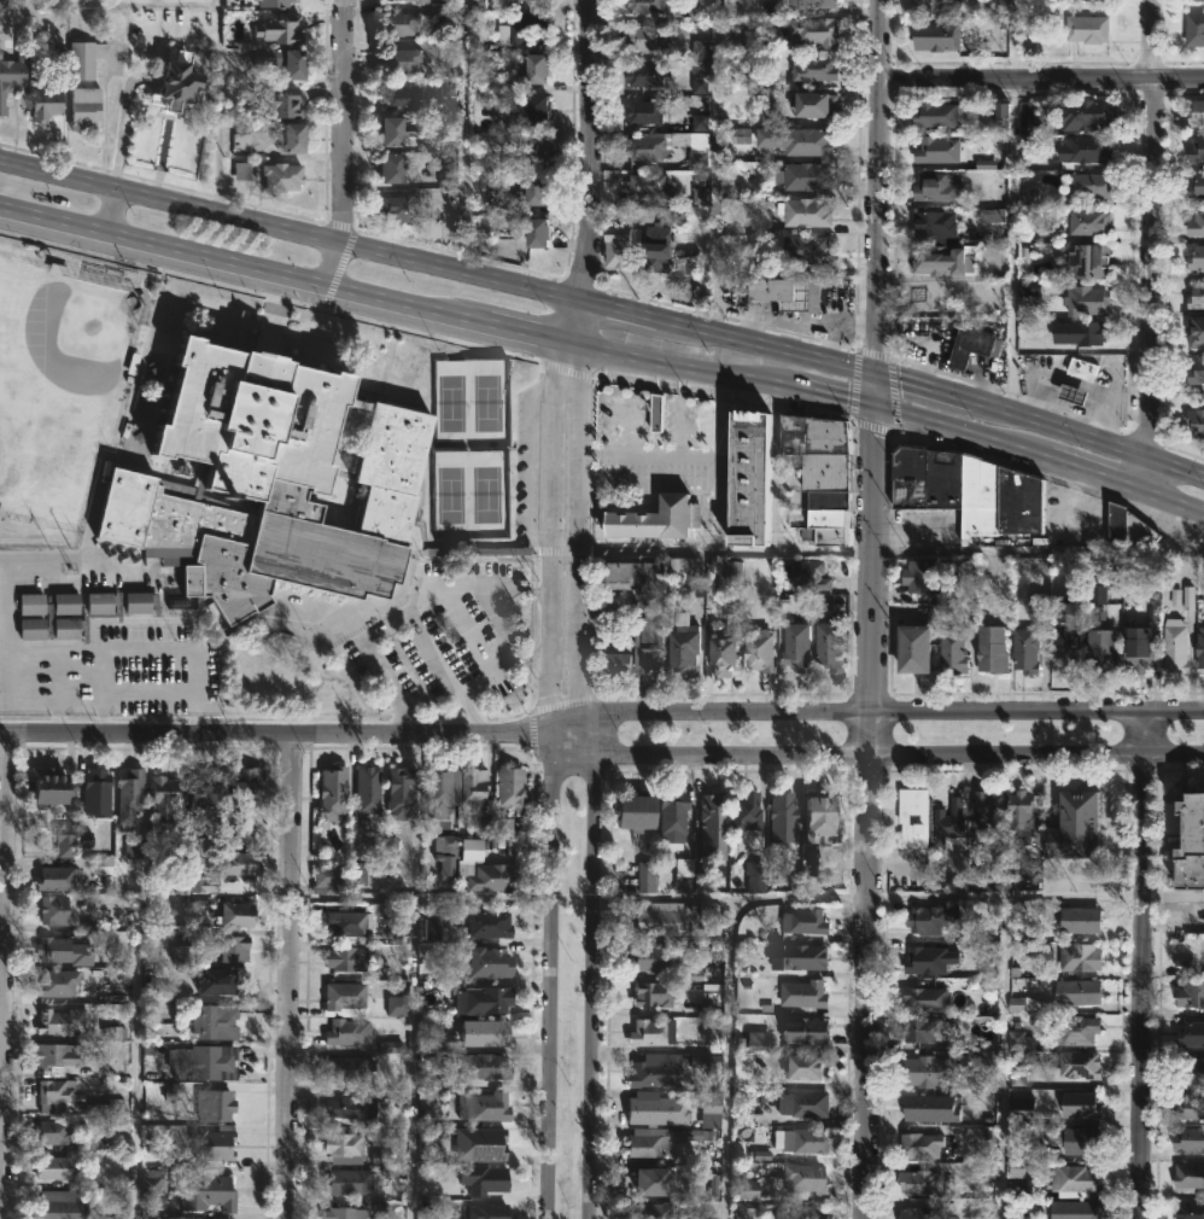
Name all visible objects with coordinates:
building: (425, 0)
building: (1088, 0)
building: (1194, 0)
building: (518, 1)
building: (275, 2)
road: (109, 4)
building: (810, 4)
building: (642, 6)
building: (935, 7)
building: (399, 23)
building: (525, 28)
building: (1085, 28)
building: (281, 29)
building: (1193, 29)
building: (816, 30)
building: (934, 36)
building: (642, 37)
road: (1012, 40)
building: (285, 59)
building: (404, 59)
building: (81, 62)
building: (543, 68)
building: (817, 68)
building: (13, 70)
building: (641, 74)
road: (1041, 78)
road: (135, 81)
building: (182, 86)
building: (404, 95)
building: (285, 101)
building: (47, 103)
building: (810, 104)
building: (86, 106)
building: (542, 107)
road: (217, 109)
building: (645, 111)
building: (1194, 112)
building: (934, 115)
building: (1081, 115)
building: (398, 129)
building: (297, 136)
road: (461, 138)
road: (343, 145)
building: (643, 146)
building: (544, 147)
building: (1082, 148)
building: (695, 150)
building: (934, 150)
building: (1194, 150)
road: (590, 151)
building: (803, 162)
building: (396, 167)
road: (714, 167)
building: (446, 173)
building: (282, 175)
building: (643, 183)
building: (1085, 186)
building: (1194, 186)
building: (934, 187)
building: (540, 189)
building: (404, 209)
road: (109, 211)
building: (810, 211)
building: (1086, 222)
building: (1194, 223)
building: (931, 226)
building: (542, 232)
building: (623, 243)
road: (1013, 246)
building: (653, 249)
road: (1155, 249)
building: (812, 250)
building: (1194, 258)
building: (941, 261)
building: (1087, 261)
building: (683, 263)
building: (784, 291)
building: (1196, 297)
building: (1085, 302)
road: (606, 309)
building: (1194, 332)
building: (1079, 333)
building: (970, 346)
road: (604, 352)
road: (877, 356)
building: (1080, 368)
building: (1194, 369)
traffic signals: (876, 377)
park: (60, 390)
building: (1076, 395)
park: (471, 406)
road: (636, 407)
road: (678, 412)
traffic signals: (876, 414)
road: (714, 416)
building: (1194, 422)
road: (610, 426)
road: (647, 455)
building: (820, 476)
building: (756, 477)
building: (274, 484)
park: (472, 495)
building: (954, 500)
road: (713, 503)
road: (553, 514)
building: (662, 518)
road: (579, 527)
building: (1127, 531)
building: (479, 552)
road: (714, 552)
building: (685, 566)
building: (733, 574)
building: (919, 574)
building: (807, 576)
road: (480, 585)
building: (104, 603)
building: (141, 603)
building: (36, 605)
building: (69, 605)
building: (639, 617)
building: (1066, 623)
building: (36, 629)
building: (70, 629)
building: (1173, 646)
building: (680, 647)
building: (800, 647)
building: (832, 647)
building: (1198, 648)
building: (764, 649)
building: (908, 651)
building: (988, 651)
building: (1022, 651)
building: (1134, 651)
building: (1099, 652)
building: (949, 654)
building: (730, 657)
road: (374, 660)
road: (45, 701)
road: (873, 713)
road: (57, 716)
road: (101, 716)
road: (274, 733)
road: (875, 753)
building: (57, 786)
building: (247, 786)
building: (475, 786)
building: (370, 787)
building: (514, 788)
building: (164, 789)
building: (98, 791)
building: (440, 791)
building: (334, 792)
building: (403, 793)
building: (129, 794)
building: (204, 797)
building: (983, 806)
building: (741, 809)
building: (945, 813)
building: (778, 815)
building: (1018, 815)
building: (659, 816)
building: (826, 817)
building: (913, 817)
building: (709, 823)
building: (1070, 824)
building: (245, 834)
building: (66, 841)
building: (446, 845)
building: (1190, 846)
building: (170, 852)
building: (241, 861)
building: (684, 874)
building: (495, 875)
building: (643, 875)
building: (755, 875)
building: (58, 877)
building: (326, 877)
building: (702, 880)
building: (205, 882)
road: (1174, 894)
road: (801, 896)
road: (1007, 897)
road: (484, 899)
building: (57, 909)
building: (239, 912)
building: (653, 917)
building: (928, 917)
building: (1076, 918)
building: (802, 920)
building: (349, 921)
building: (491, 922)
building: (443, 928)
building: (234, 946)
building: (66, 950)
building: (803, 955)
building: (349, 956)
building: (1076, 956)
building: (653, 957)
building: (927, 960)
building: (489, 961)
road: (869, 966)
road: (1144, 966)
road: (2, 975)
road: (288, 975)
road: (554, 975)
building: (217, 979)
building: (55, 984)
road: (594, 985)
road: (729, 988)
building: (1075, 991)
building: (649, 992)
building: (346, 993)
building: (801, 993)
building: (1190, 993)
road: (413, 997)
building: (923, 998)
building: (486, 999)
building: (1028, 1005)
building: (60, 1020)
building: (216, 1020)
building: (924, 1027)
building: (350, 1030)
building: (1070, 1030)
building: (490, 1031)
building: (649, 1031)
building: (805, 1031)
building: (1190, 1033)
building: (1021, 1039)
building: (63, 1052)
road: (1000, 1058)
building: (208, 1061)
building: (1077, 1063)
building: (812, 1065)
building: (485, 1066)
building: (344, 1068)
building: (740, 1068)
building: (924, 1071)
building: (1190, 1071)
building: (648, 1074)
building: (55, 1090)
building: (808, 1103)
building: (216, 1104)
building: (1077, 1104)
building: (352, 1106)
building: (486, 1106)
building: (1187, 1107)
building: (655, 1108)
building: (708, 1109)
building: (918, 1109)
building: (1019, 1109)
building: (55, 1131)
building: (657, 1139)
building: (797, 1139)
building: (1187, 1139)
building: (486, 1142)
building: (1063, 1142)
building: (209, 1143)
building: (344, 1143)
building: (925, 1143)
building: (59, 1166)
building: (1187, 1176)
building: (797, 1177)
building: (1071, 1178)
building: (495, 1179)
building: (650, 1180)
building: (349, 1182)
building: (917, 1182)
building: (153, 1183)
building: (208, 1189)
building: (63, 1209)
building: (1077, 1209)
building: (1188, 1209)
building: (490, 1211)
building: (644, 1211)
building: (801, 1212)
building: (344, 1213)
building: (918, 1213)
building: (215, 1218)

